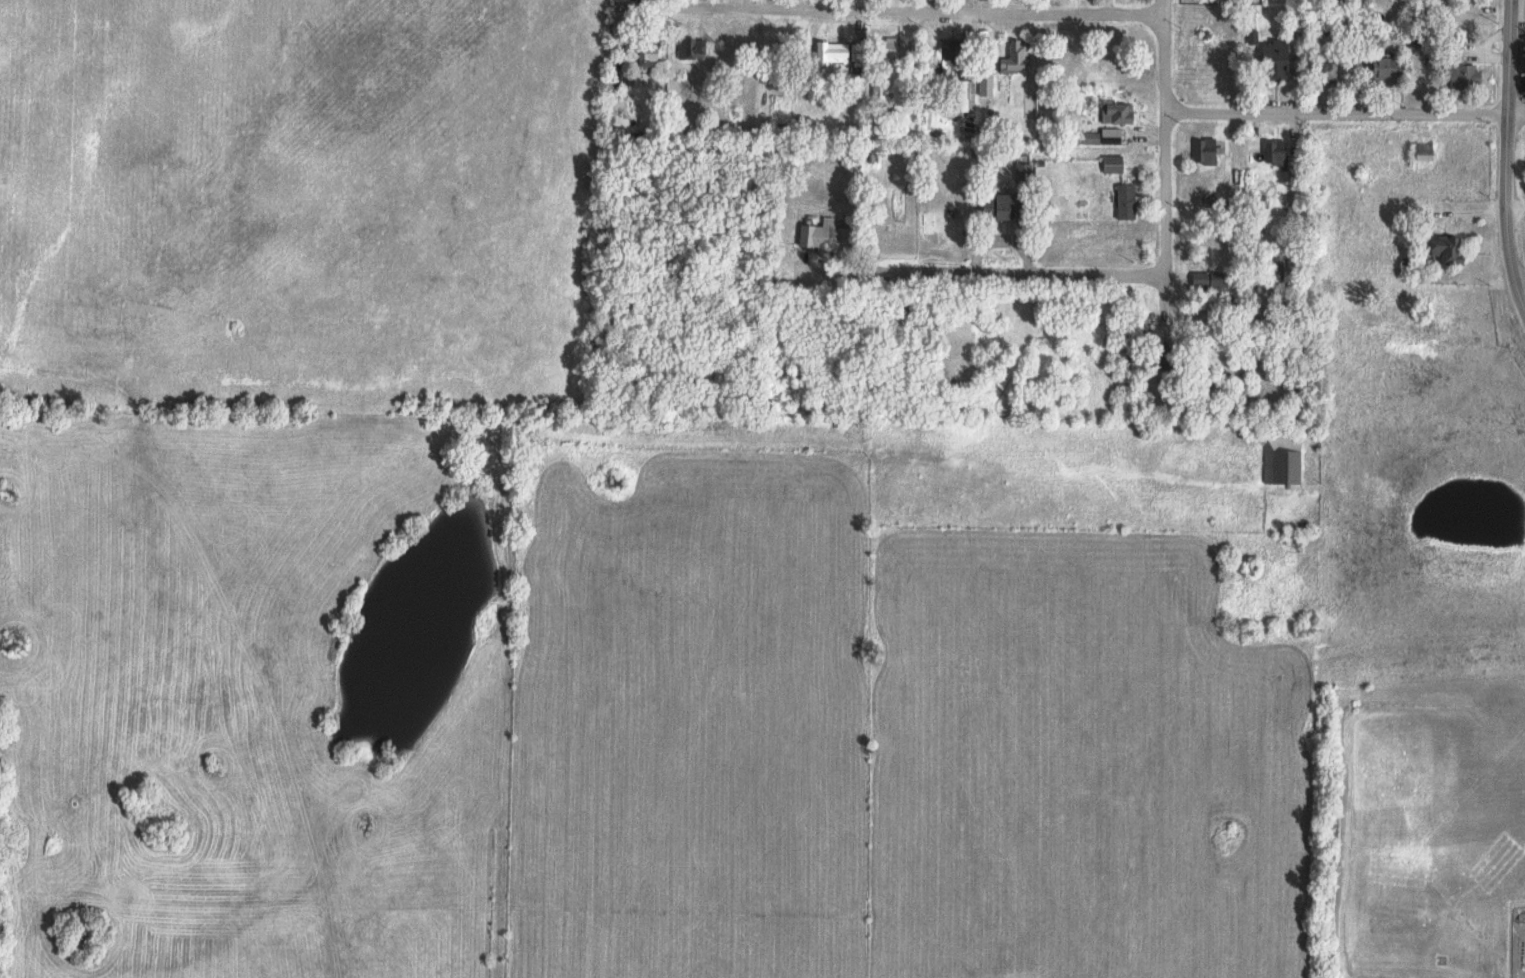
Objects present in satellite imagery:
road: (916, 7)
building: (891, 48)
building: (692, 49)
building: (834, 53)
building: (650, 56)
building: (950, 57)
building: (1017, 58)
building: (1279, 60)
building: (1327, 70)
building: (1387, 70)
building: (619, 72)
building: (1466, 77)
building: (987, 85)
road: (1345, 111)
building: (1122, 114)
building: (1113, 137)
building: (1090, 139)
building: (1206, 151)
building: (1427, 152)
building: (1277, 154)
road: (1505, 157)
building: (1114, 165)
building: (1024, 173)
road: (1162, 200)
building: (1128, 203)
building: (1004, 207)
building: (825, 238)
building: (1450, 250)
road: (1023, 265)
building: (1279, 267)
building: (1211, 281)
building: (1163, 357)
road: (1250, 365)
building: (1283, 459)

